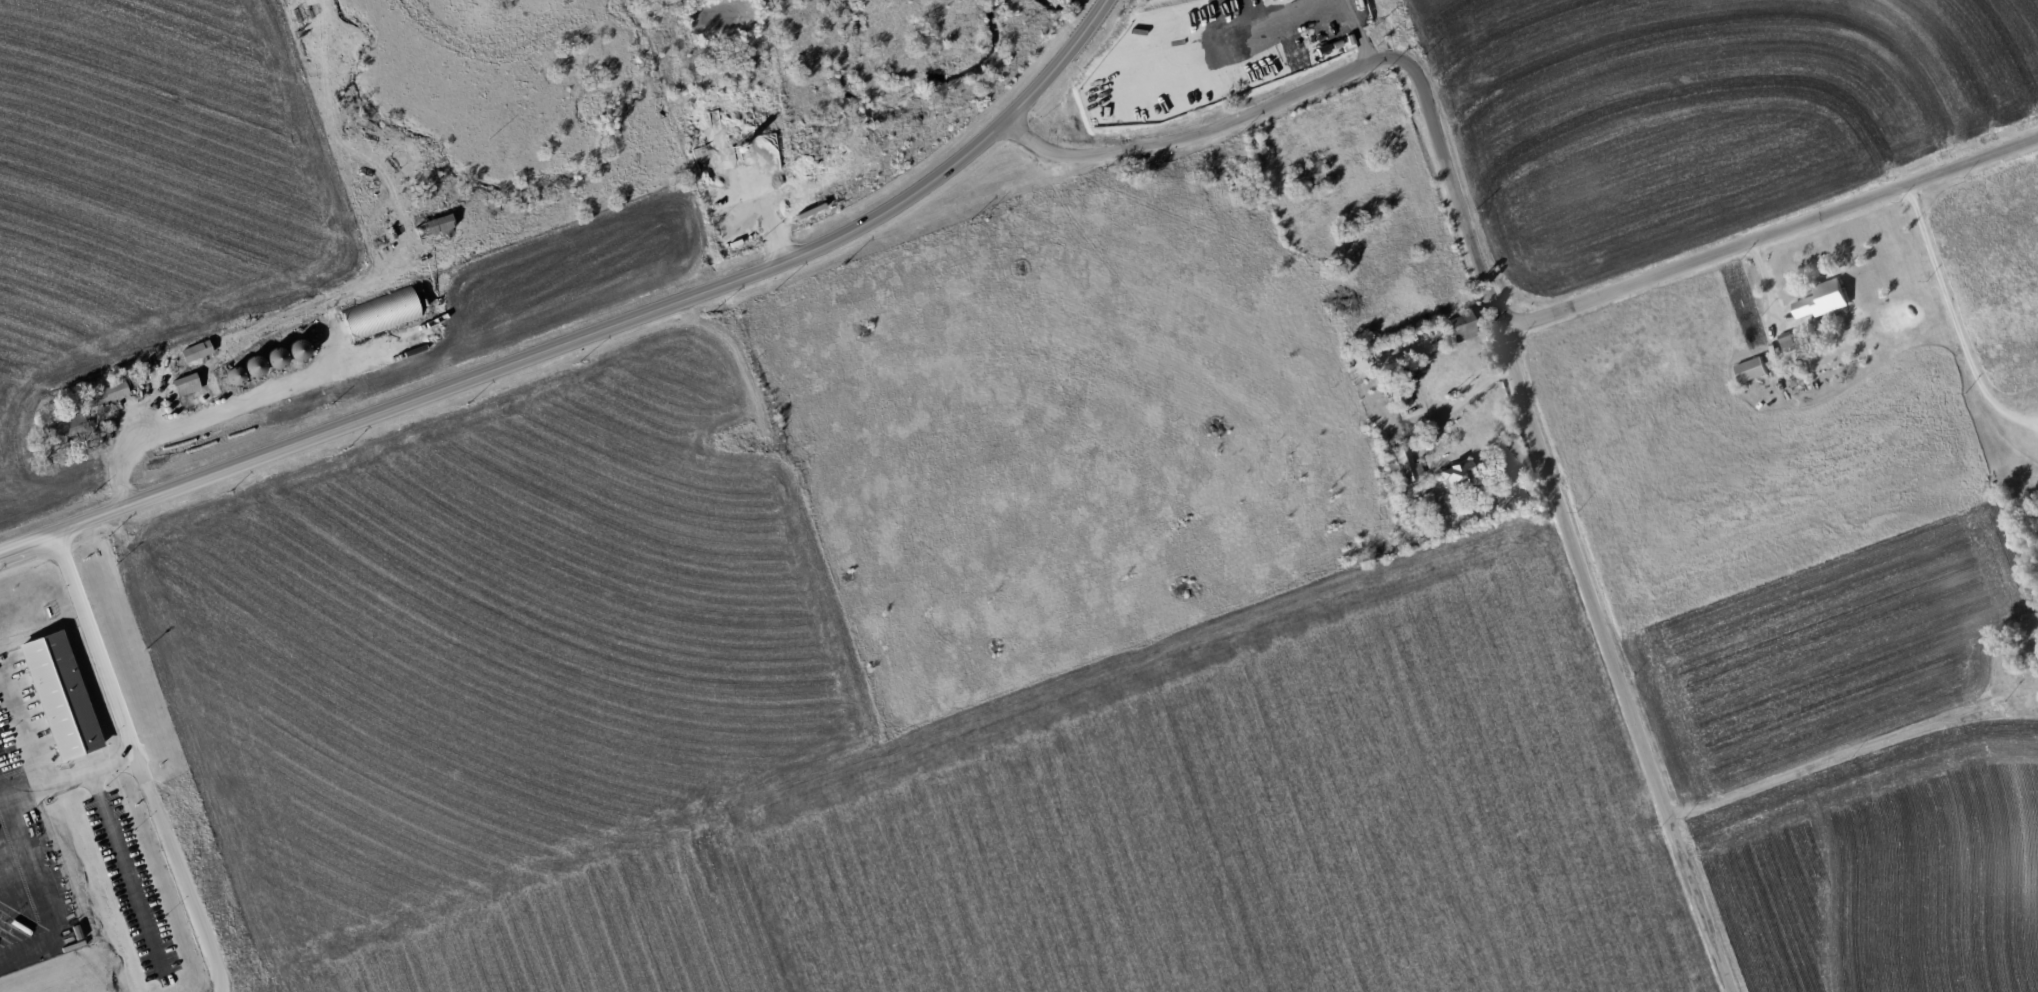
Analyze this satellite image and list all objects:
road: (1771, 233)
building: (1821, 300)
building: (377, 313)
road: (1950, 319)
road: (1501, 322)
building: (1458, 327)
road: (591, 332)
building: (1750, 370)
building: (183, 384)
road: (1468, 400)
road: (122, 443)
building: (1403, 462)
building: (1453, 474)
road: (105, 685)
building: (64, 695)
road: (21, 734)
road: (1841, 756)
road: (1, 802)
road: (29, 875)
road: (127, 875)

